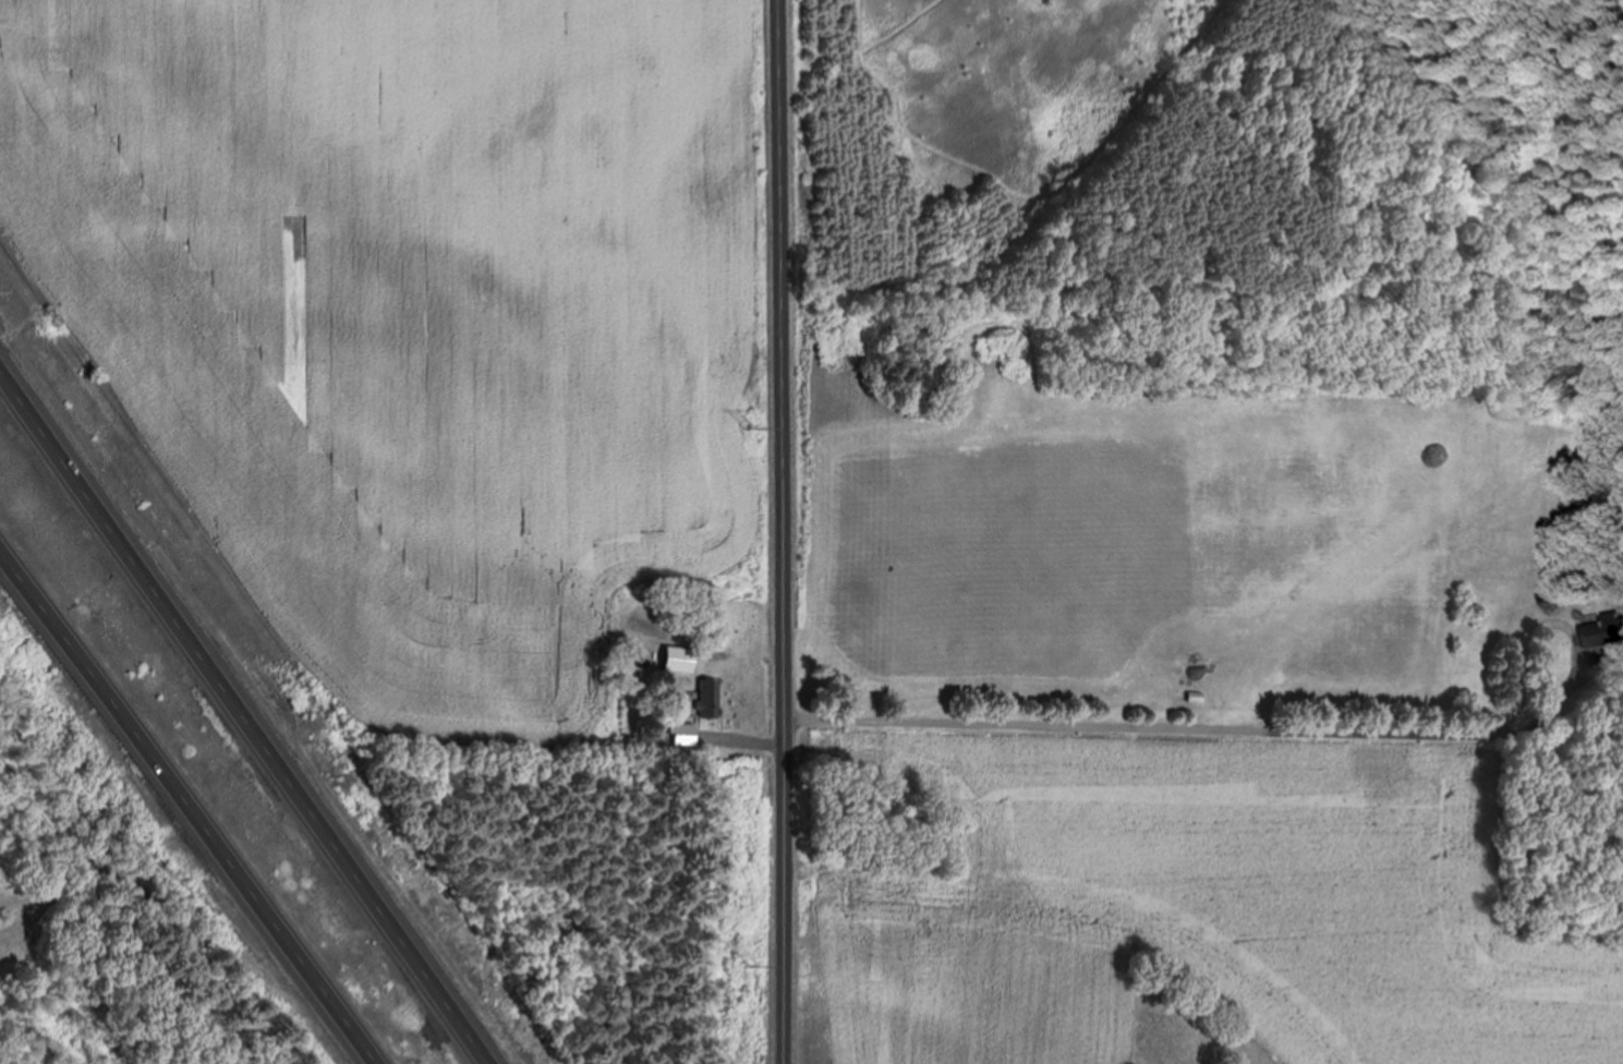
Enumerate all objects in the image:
power tower: (751, 426)
road: (783, 531)
building: (1608, 621)
building: (681, 655)
building: (713, 696)
road: (245, 718)
road: (1201, 718)
building: (681, 735)
road: (194, 798)
power tower: (751, 966)

